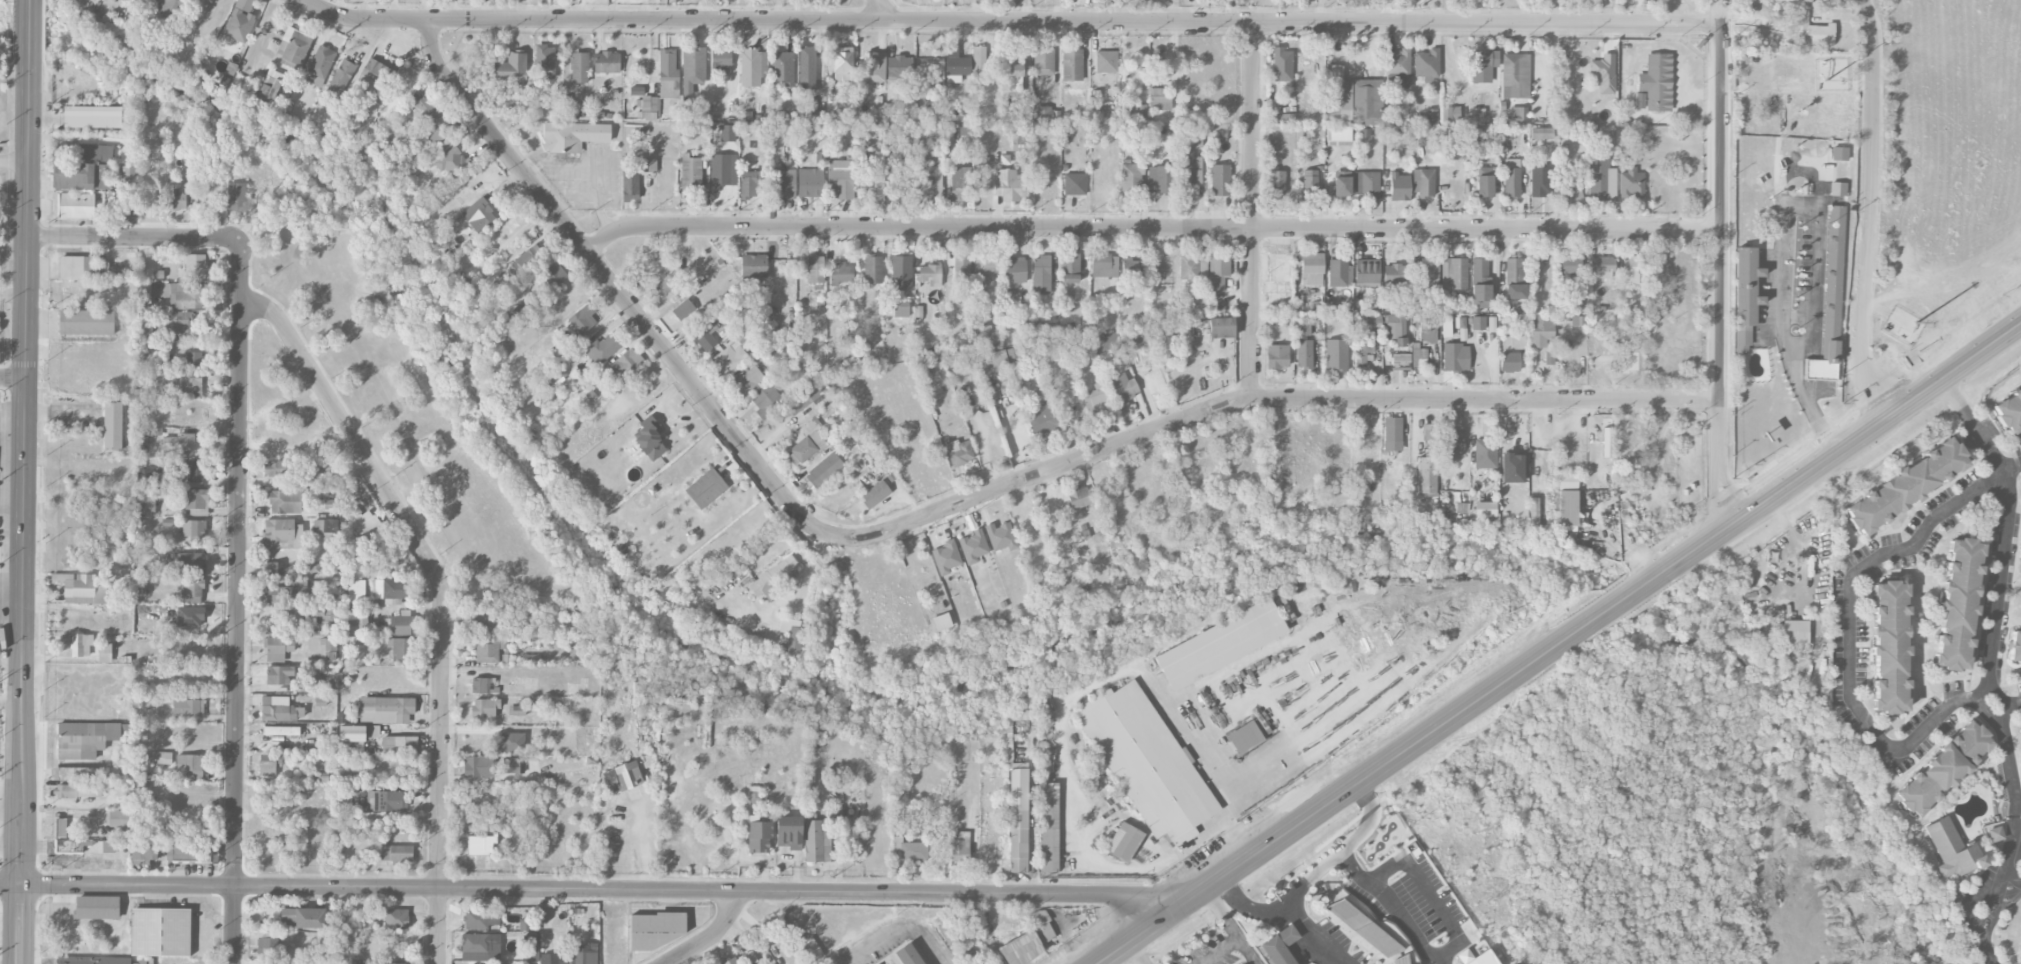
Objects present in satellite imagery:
building: (901, 0)
building: (170, 9)
road: (884, 9)
road: (1009, 20)
building: (240, 21)
building: (1813, 29)
building: (293, 48)
building: (721, 58)
building: (979, 59)
building: (545, 61)
building: (1043, 62)
building: (1106, 62)
building: (1397, 62)
building: (606, 63)
building: (807, 63)
building: (1427, 63)
building: (843, 64)
building: (956, 64)
building: (1013, 65)
building: (1072, 65)
building: (1282, 65)
building: (1483, 65)
building: (319, 66)
building: (899, 66)
building: (579, 67)
building: (872, 67)
building: (782, 68)
building: (511, 69)
building: (692, 69)
building: (750, 69)
building: (1604, 73)
building: (668, 74)
building: (1515, 75)
building: (340, 78)
building: (374, 78)
building: (1043, 79)
building: (1402, 82)
building: (1657, 82)
building: (637, 91)
building: (1159, 100)
building: (1355, 101)
building: (1640, 101)
building: (424, 107)
building: (650, 108)
building: (572, 112)
building: (1137, 113)
building: (1450, 113)
building: (1043, 115)
building: (1431, 116)
building: (1516, 116)
building: (92, 117)
building: (1286, 118)
building: (438, 127)
building: (728, 133)
building: (1542, 133)
building: (572, 136)
building: (1338, 136)
building: (1270, 146)
building: (1839, 154)
building: (820, 157)
building: (1005, 159)
road: (15, 161)
building: (1193, 162)
building: (86, 170)
building: (723, 170)
building: (691, 173)
building: (636, 178)
building: (841, 178)
building: (1512, 178)
building: (1161, 179)
building: (1130, 180)
building: (1221, 180)
building: (1309, 180)
building: (1601, 180)
building: (1487, 181)
building: (811, 182)
building: (1277, 182)
building: (1539, 182)
building: (1423, 183)
building: (752, 184)
building: (783, 184)
building: (961, 184)
building: (1074, 184)
building: (1631, 184)
building: (931, 185)
building: (1010, 185)
building: (1341, 185)
building: (1367, 185)
building: (870, 187)
building: (1399, 187)
building: (1838, 189)
building: (1574, 190)
building: (177, 195)
building: (207, 195)
building: (236, 197)
building: (118, 204)
building: (76, 206)
road: (1252, 211)
road: (1872, 211)
building: (478, 215)
road: (1149, 227)
road: (135, 236)
building: (527, 258)
road: (1720, 265)
building: (754, 266)
building: (1104, 266)
building: (1536, 266)
building: (1569, 266)
building: (195, 267)
building: (786, 267)
building: (75, 268)
building: (961, 268)
building: (986, 268)
building: (1070, 268)
building: (1193, 268)
building: (1310, 268)
building: (1602, 268)
building: (873, 269)
building: (1633, 269)
building: (115, 270)
building: (815, 270)
building: (1014, 270)
building: (1134, 270)
building: (1367, 271)
building: (842, 273)
building: (901, 273)
building: (1218, 273)
building: (1340, 273)
building: (1454, 273)
building: (553, 274)
building: (930, 274)
building: (1041, 275)
building: (1396, 275)
building: (1429, 276)
building: (1514, 278)
building: (670, 283)
building: (1481, 284)
building: (144, 294)
building: (183, 295)
building: (1745, 297)
building: (1831, 301)
building: (901, 309)
building: (1218, 309)
building: (683, 310)
building: (1520, 310)
building: (515, 313)
building: (584, 319)
building: (86, 322)
building: (176, 323)
building: (1478, 323)
building: (1446, 326)
building: (1221, 327)
building: (1305, 329)
building: (1396, 329)
building: (148, 330)
building: (1463, 330)
building: (982, 331)
building: (1427, 332)
building: (1541, 332)
road: (1782, 336)
building: (706, 338)
building: (1132, 338)
building: (1101, 344)
building: (605, 347)
building: (1364, 348)
building: (734, 350)
building: (1304, 354)
building: (1336, 355)
building: (1277, 356)
building: (1419, 357)
building: (1456, 357)
building: (1549, 358)
building: (193, 360)
building: (997, 360)
building: (1401, 362)
building: (1510, 362)
building: (625, 364)
building: (556, 376)
road: (11, 379)
building: (748, 381)
building: (191, 386)
building: (1123, 389)
building: (803, 399)
building: (1098, 399)
building: (766, 400)
building: (831, 409)
building: (2008, 409)
building: (1042, 420)
road: (1974, 425)
building: (112, 426)
building: (152, 431)
building: (1429, 432)
building: (1392, 434)
building: (1626, 438)
building: (1456, 439)
building: (859, 440)
road: (23, 442)
building: (650, 442)
building: (178, 444)
building: (806, 444)
building: (959, 452)
building: (1485, 453)
building: (324, 464)
building: (276, 468)
building: (1511, 468)
building: (824, 469)
building: (196, 471)
building: (1426, 475)
building: (145, 476)
building: (1567, 480)
building: (1905, 485)
building: (706, 488)
building: (876, 494)
building: (1079, 497)
building: (196, 502)
building: (285, 502)
building: (147, 503)
road: (950, 507)
building: (1460, 508)
building: (1567, 508)
road: (11, 510)
building: (1533, 512)
building: (365, 523)
building: (326, 529)
building: (194, 531)
building: (281, 534)
building: (1001, 537)
building: (973, 547)
building: (946, 557)
building: (2020, 557)
building: (190, 563)
building: (270, 568)
building: (773, 579)
road: (11, 582)
road: (1998, 588)
building: (81, 589)
building: (392, 589)
building: (191, 590)
building: (356, 591)
building: (287, 595)
road: (441, 596)
road: (237, 603)
building: (1958, 604)
building: (322, 612)
road: (1596, 617)
building: (485, 622)
building: (941, 622)
building: (355, 623)
building: (558, 624)
building: (1796, 639)
building: (796, 640)
building: (78, 644)
building: (330, 644)
building: (1221, 644)
building: (1889, 646)
building: (2015, 647)
building: (278, 648)
building: (400, 650)
building: (487, 650)
building: (104, 653)
building: (279, 675)
building: (484, 685)
road: (1997, 699)
building: (114, 702)
building: (188, 708)
building: (485, 708)
building: (277, 709)
building: (386, 710)
road: (2011, 715)
road: (1877, 729)
building: (281, 731)
building: (373, 731)
building: (351, 733)
building: (1245, 737)
building: (85, 739)
building: (511, 742)
building: (399, 744)
building: (161, 758)
building: (1147, 762)
building: (268, 764)
building: (478, 766)
building: (513, 766)
road: (1216, 766)
building: (189, 767)
building: (1944, 767)
building: (75, 773)
building: (624, 776)
building: (318, 777)
building: (78, 790)
building: (387, 801)
road: (10, 815)
building: (119, 820)
building: (1018, 820)
building: (61, 827)
building: (1049, 828)
building: (789, 832)
building: (1996, 833)
road: (1033, 836)
building: (817, 840)
building: (1124, 842)
building: (480, 844)
road: (644, 845)
road: (1346, 845)
building: (85, 847)
building: (960, 848)
building: (1952, 849)
building: (187, 851)
building: (909, 851)
building: (143, 852)
building: (395, 853)
road: (10, 884)
road: (1426, 890)
road: (597, 891)
road: (1989, 891)
road: (1971, 898)
road: (1290, 902)
building: (97, 907)
road: (1394, 908)
building: (1068, 914)
building: (304, 917)
building: (395, 918)
building: (481, 919)
road: (20, 924)
road: (1231, 925)
building: (1042, 926)
building: (657, 929)
road: (897, 930)
building: (1368, 931)
building: (160, 932)
road: (712, 936)
road: (1132, 936)
building: (949, 939)
road: (1989, 945)
building: (1280, 946)
building: (268, 947)
building: (480, 947)
building: (1021, 949)
road: (1219, 950)
road: (1136, 952)
building: (532, 953)
building: (585, 953)
building: (908, 955)
building: (1475, 958)
building: (92, 960)
building: (732, 961)
building: (972, 961)
building: (555, 963)

